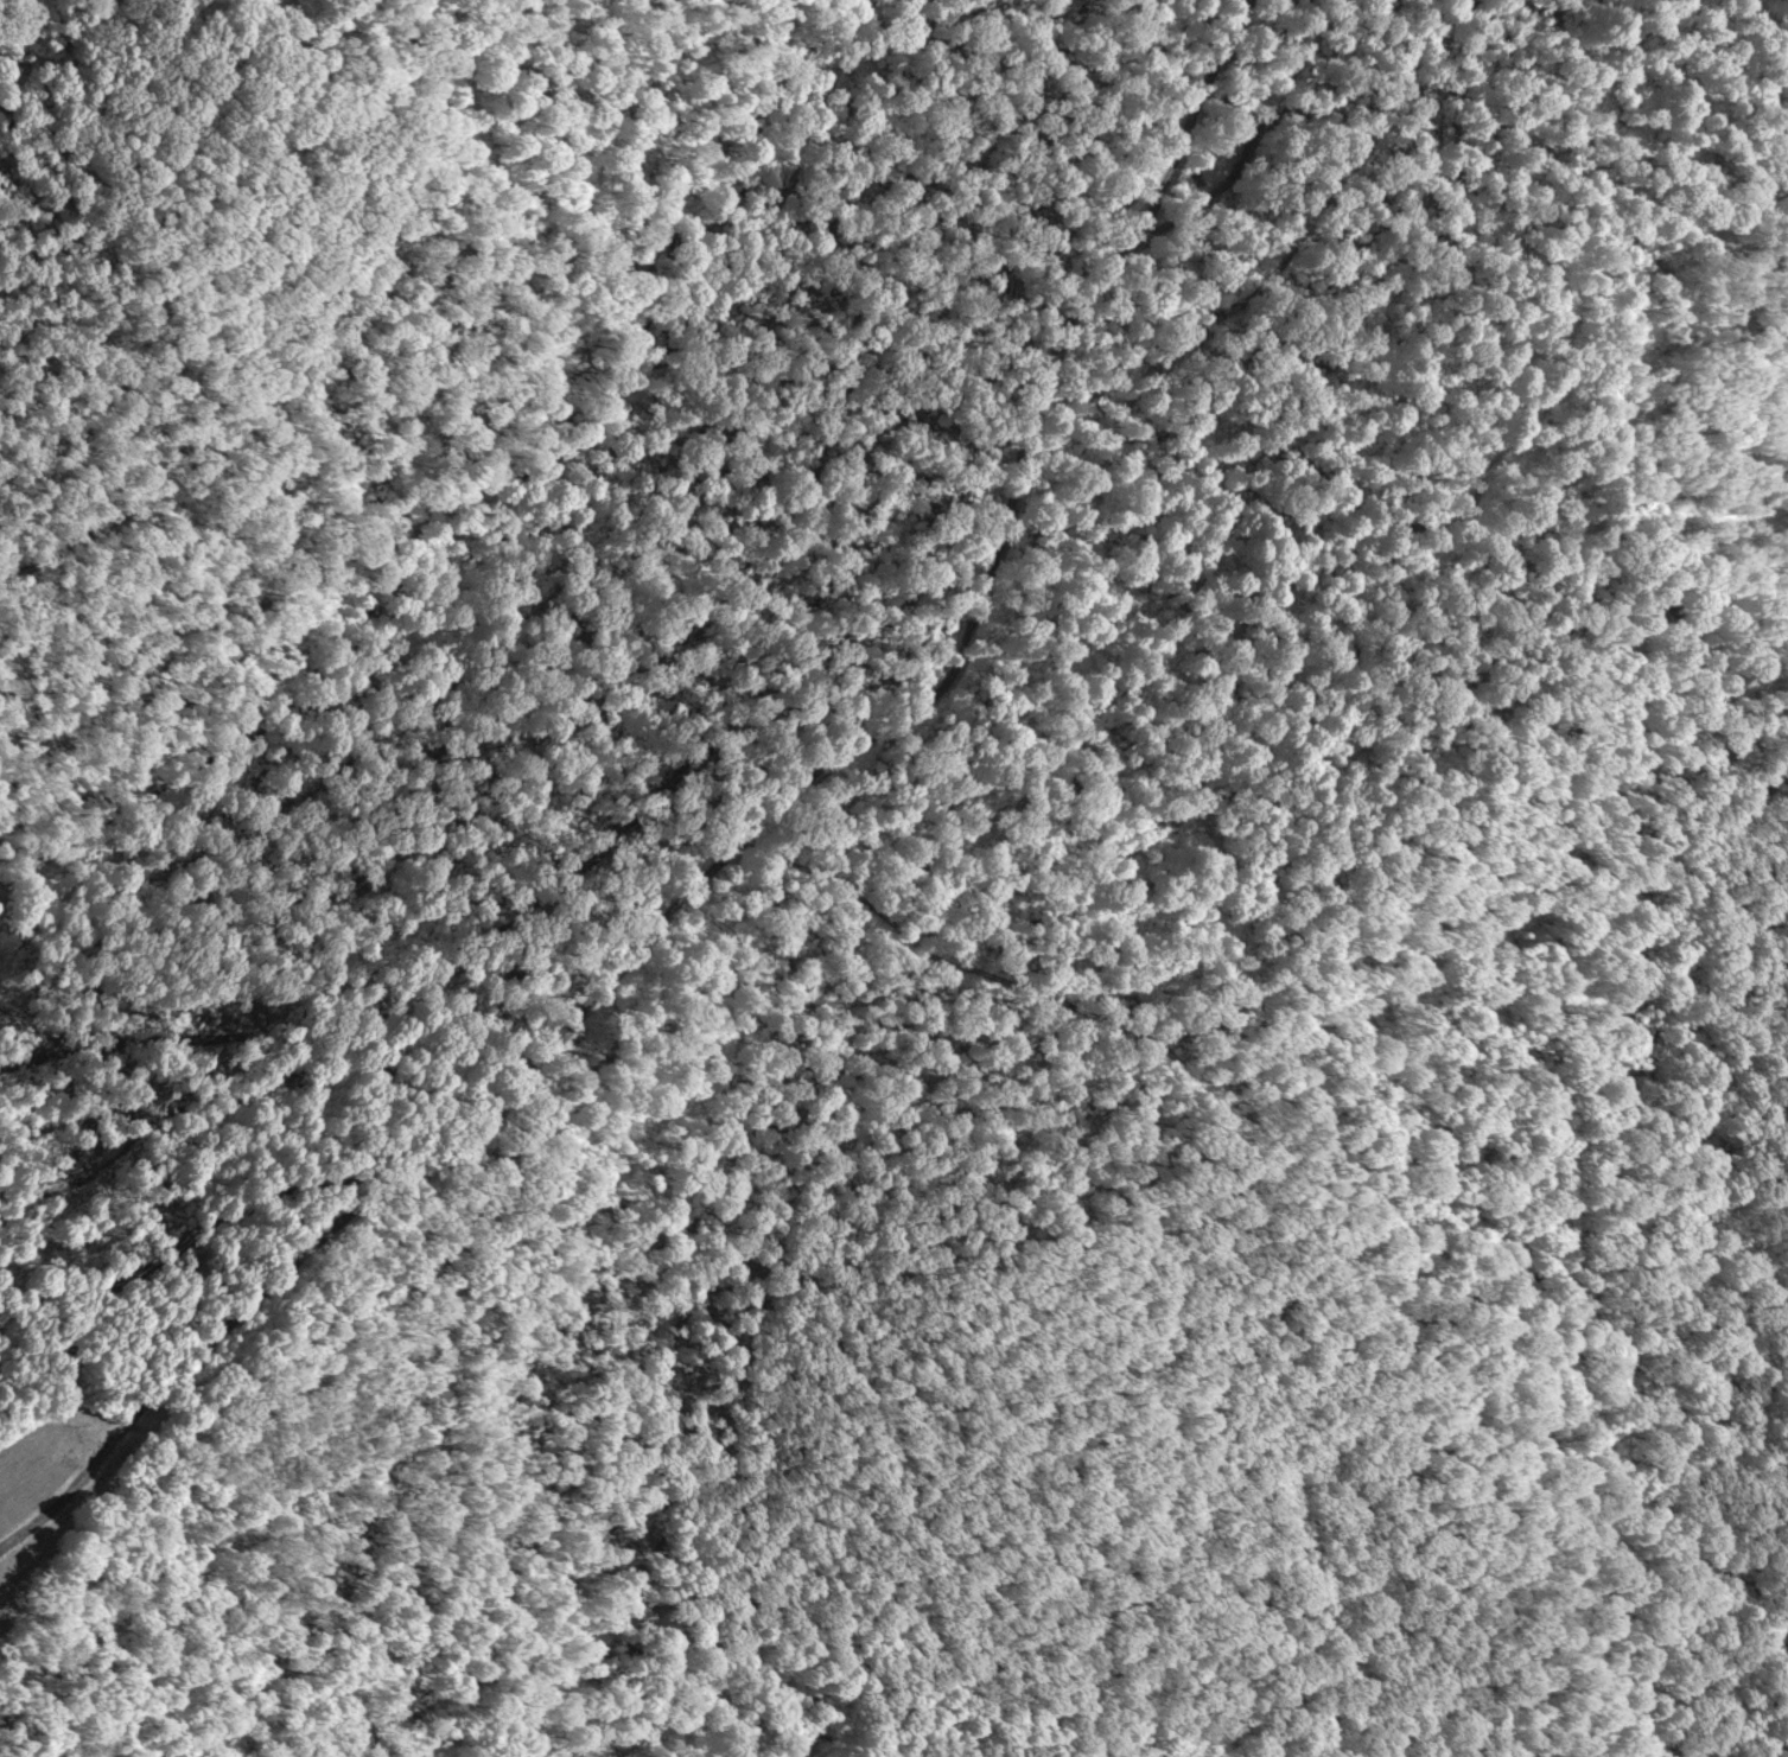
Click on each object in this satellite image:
road: (715, 807)

